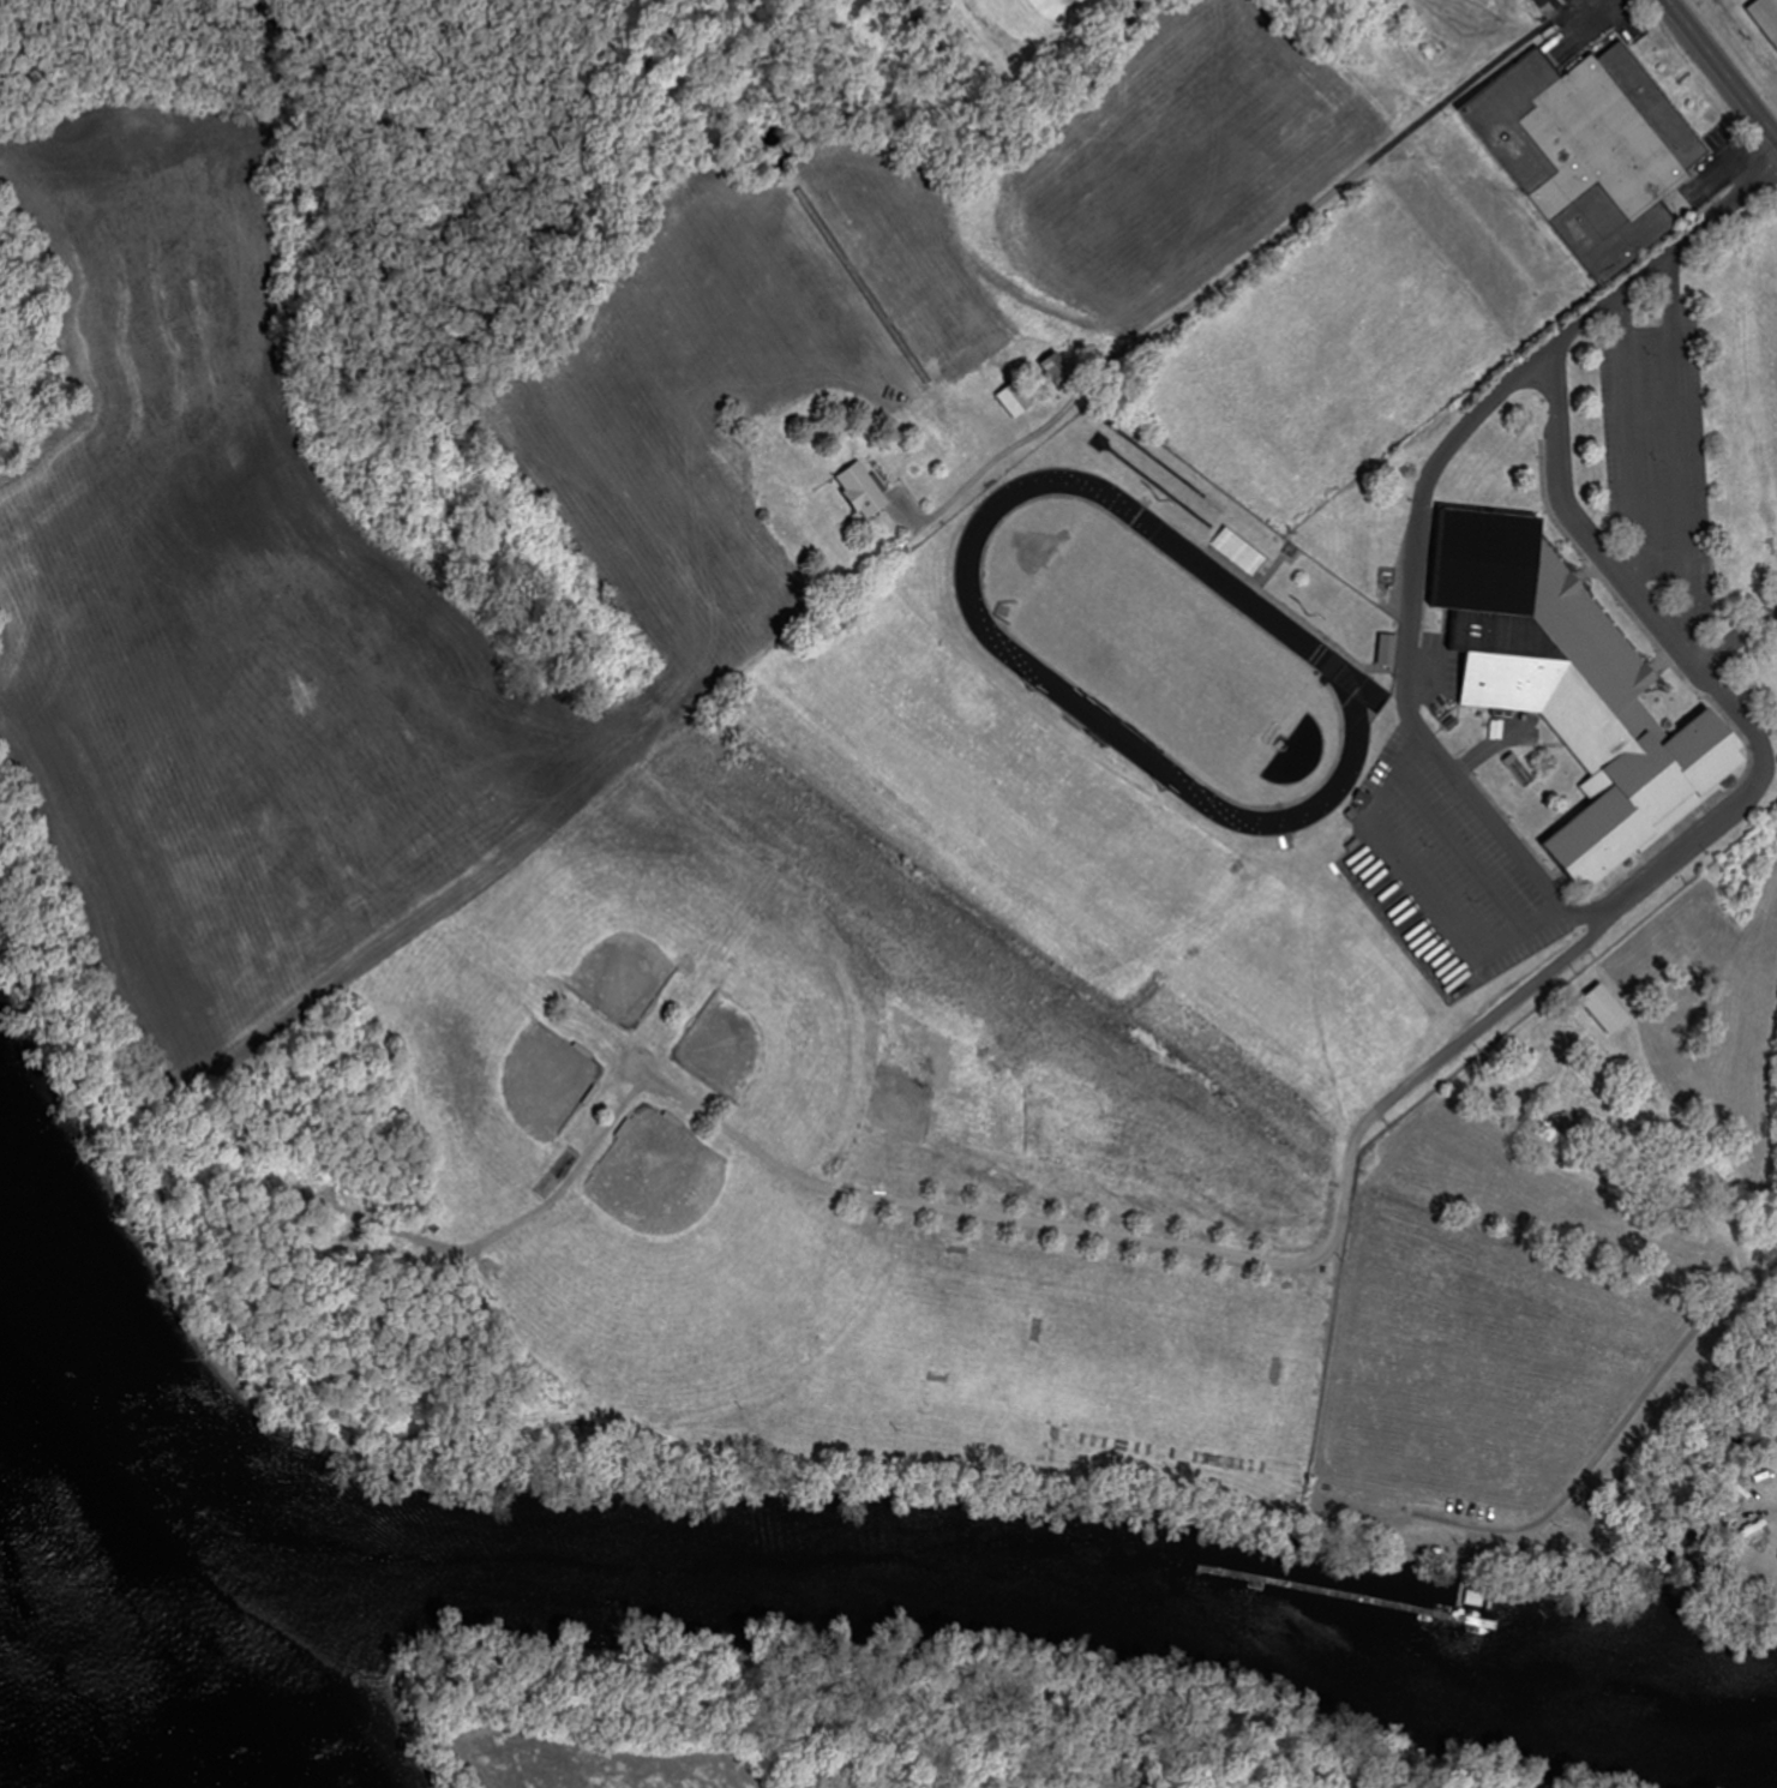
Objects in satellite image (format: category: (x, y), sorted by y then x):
building: (1766, 16)
road: (1712, 55)
flagpole: (1679, 83)
road: (1766, 125)
building: (1593, 146)
road: (1347, 181)
building: (1058, 368)
road: (1496, 395)
building: (1016, 398)
road: (1632, 440)
road: (1680, 449)
building: (864, 491)
road: (1584, 522)
building: (1239, 548)
road: (1741, 636)
park: (1159, 642)
building: (1389, 647)
track: (1315, 649)
building: (1574, 685)
flagpole: (1669, 686)
road: (1489, 746)
road: (1737, 811)
road: (1503, 835)
road: (1461, 851)
road: (1429, 882)
park: (614, 887)
building: (1608, 1010)
park: (808, 1031)
park: (493, 1088)
road: (1563, 1108)
building: (1567, 1124)
road: (1190, 1249)
park: (673, 1267)
road: (1617, 1429)
pier: (1349, 1595)
pier: (1461, 1603)

